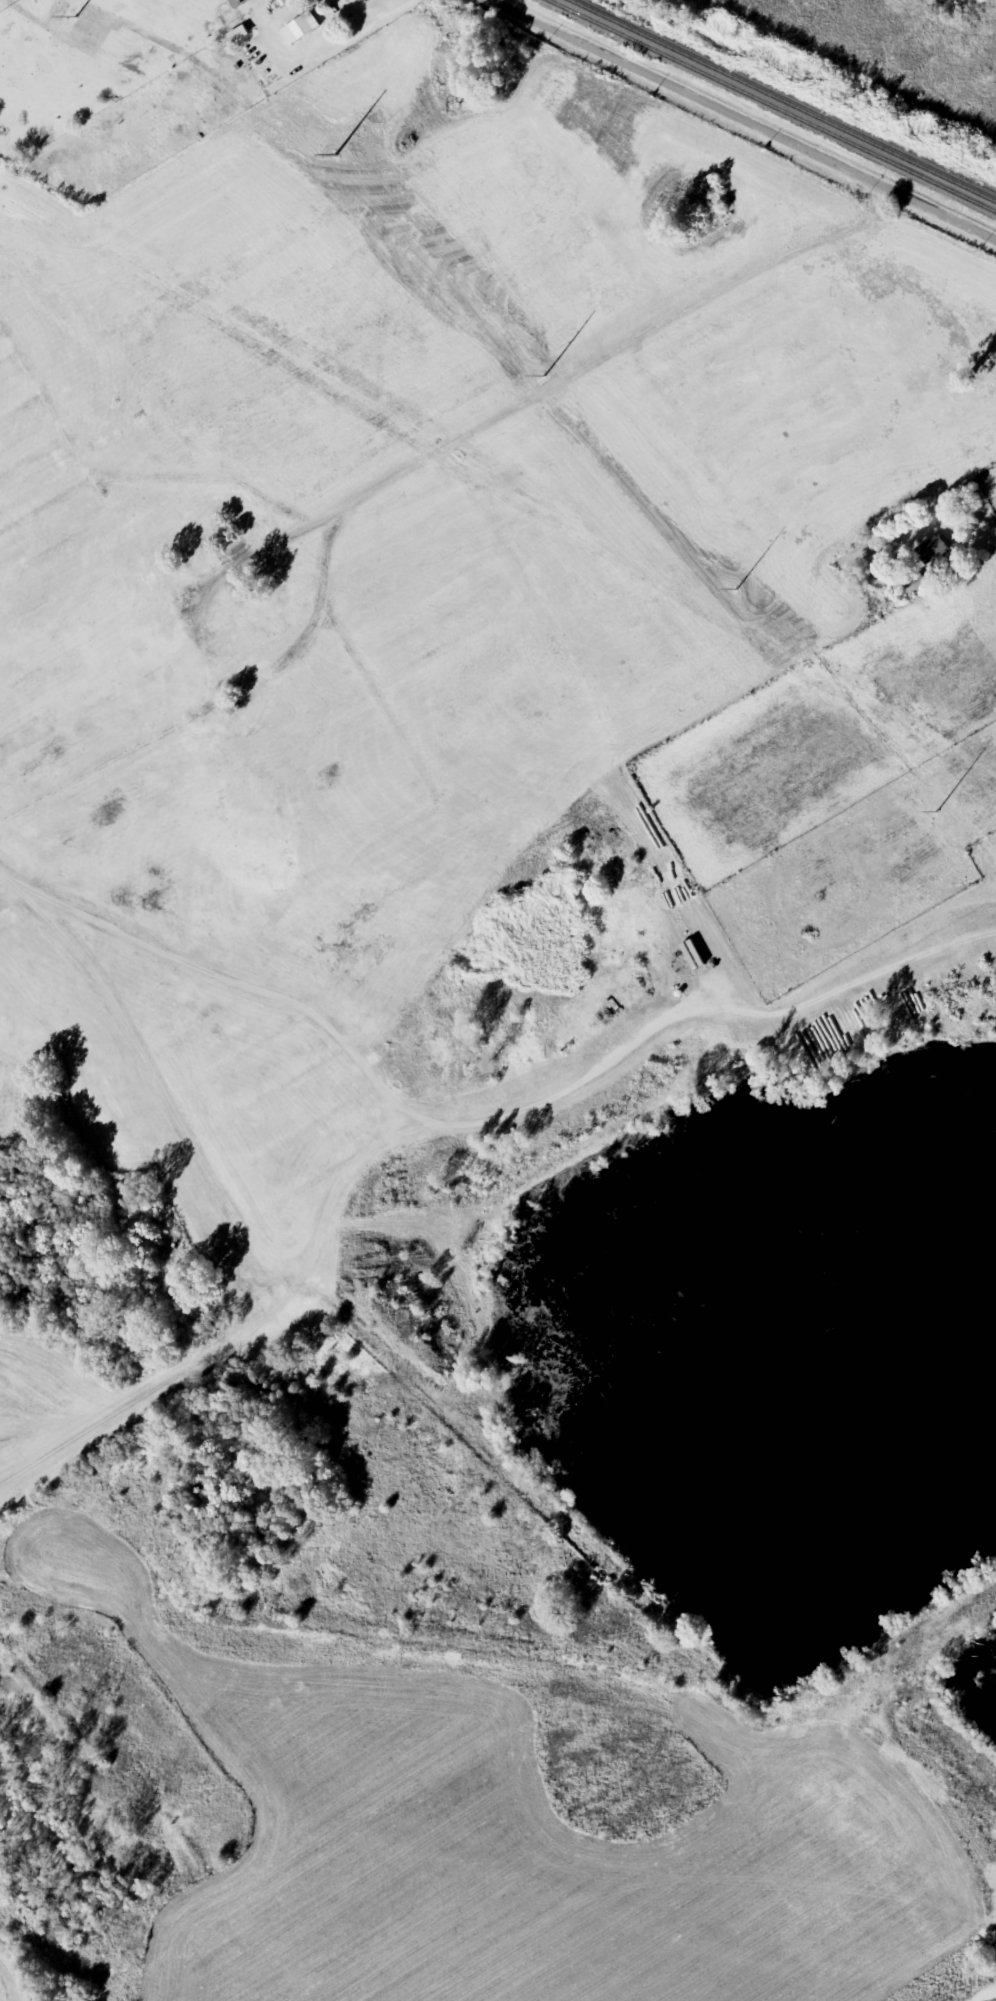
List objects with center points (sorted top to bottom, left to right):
building: (352, 2)
power tower: (68, 12)
railway: (781, 101)
railway: (772, 105)
road: (737, 121)
power tower: (350, 151)
power tower: (540, 370)
building: (932, 551)
building: (915, 586)
power tower: (742, 596)
power tower: (942, 815)
road: (30, 898)
building: (366, 1042)

